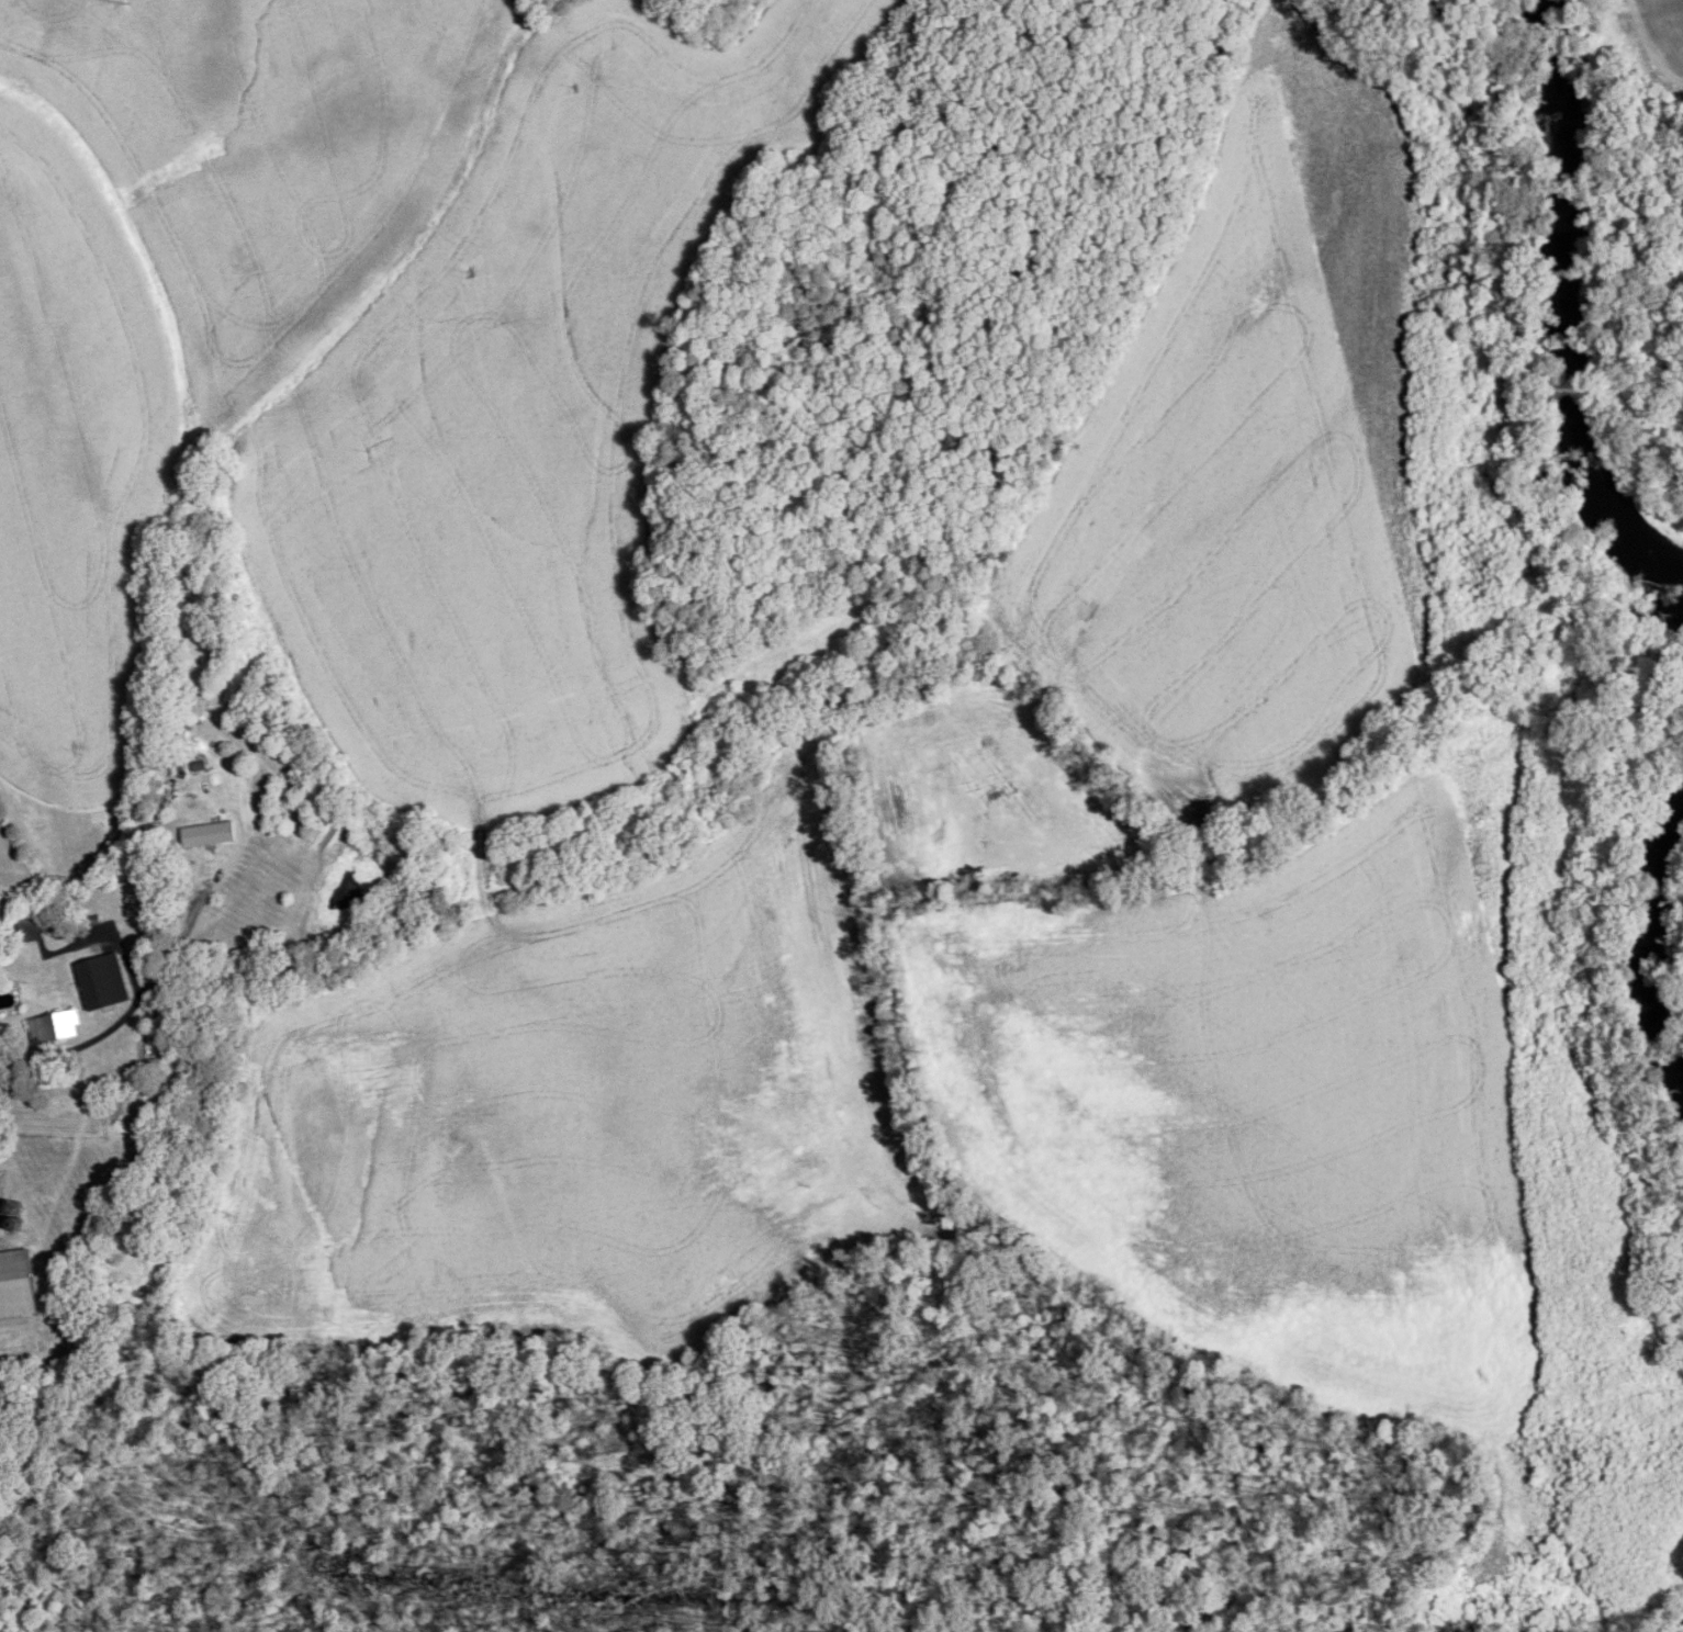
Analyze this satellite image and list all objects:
river: (1540, 300)
building: (207, 834)
river: (1656, 919)
building: (30, 927)
building: (102, 982)
road: (131, 1008)
building: (53, 1027)
building: (0, 1196)
building: (2, 1226)
building: (15, 1285)

